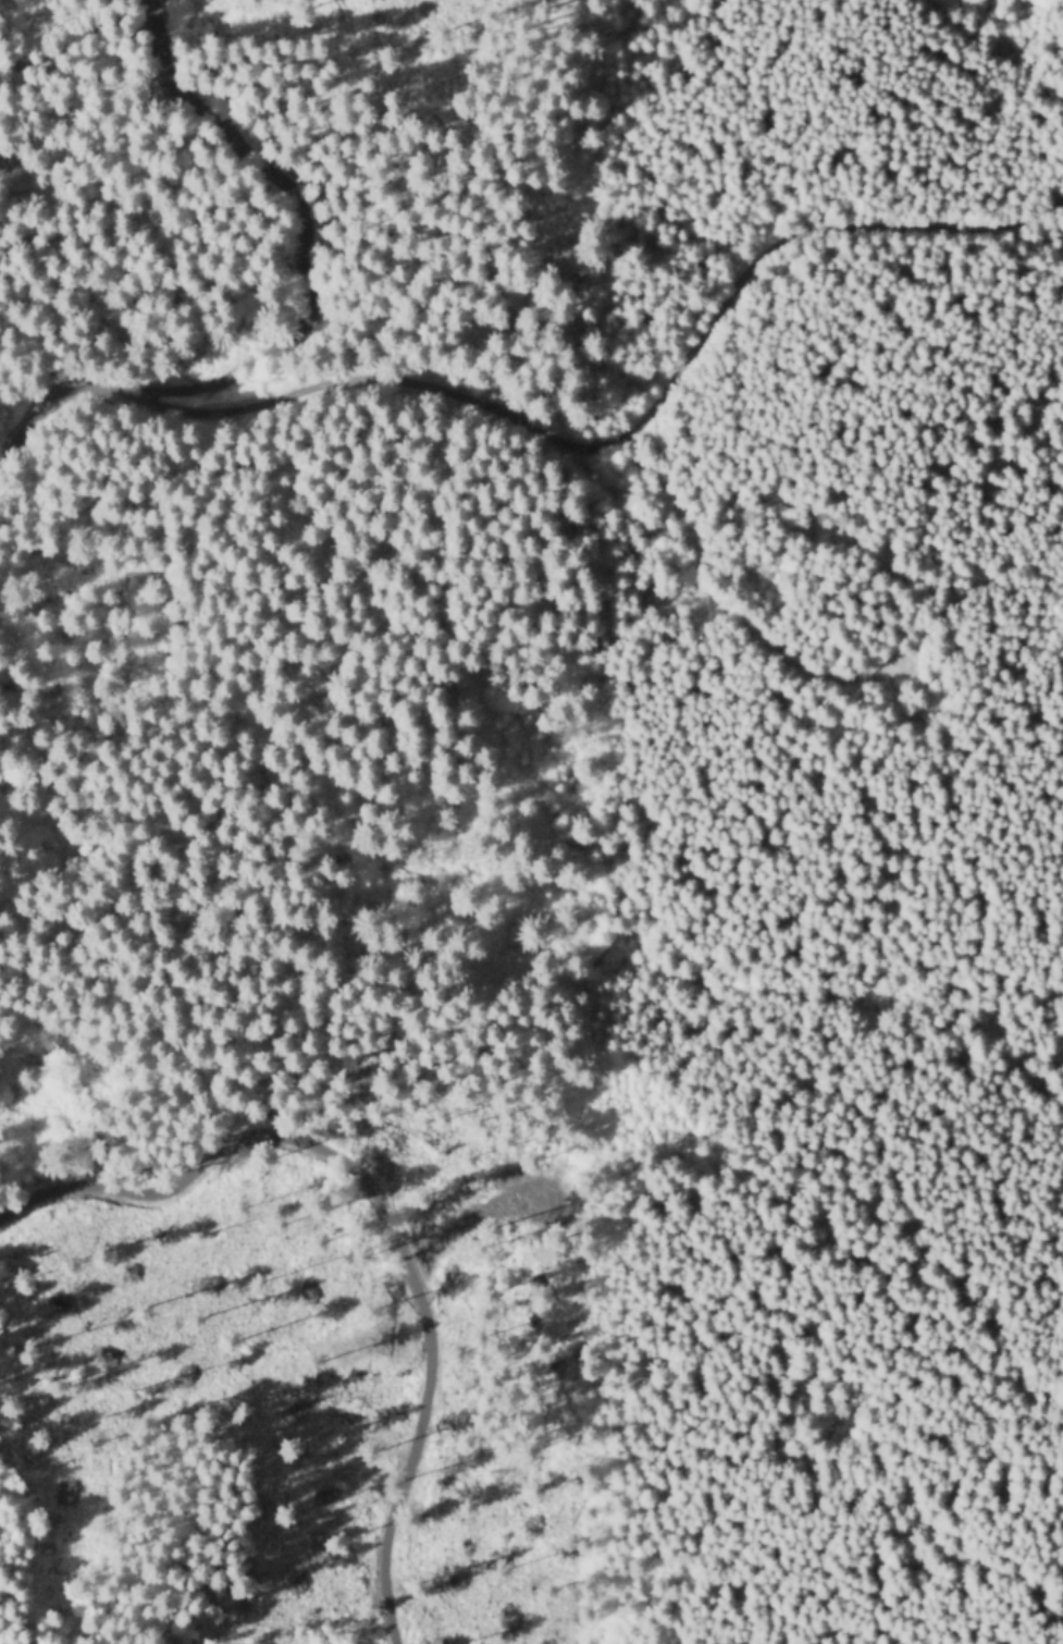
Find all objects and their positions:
road: (404, 1201)

